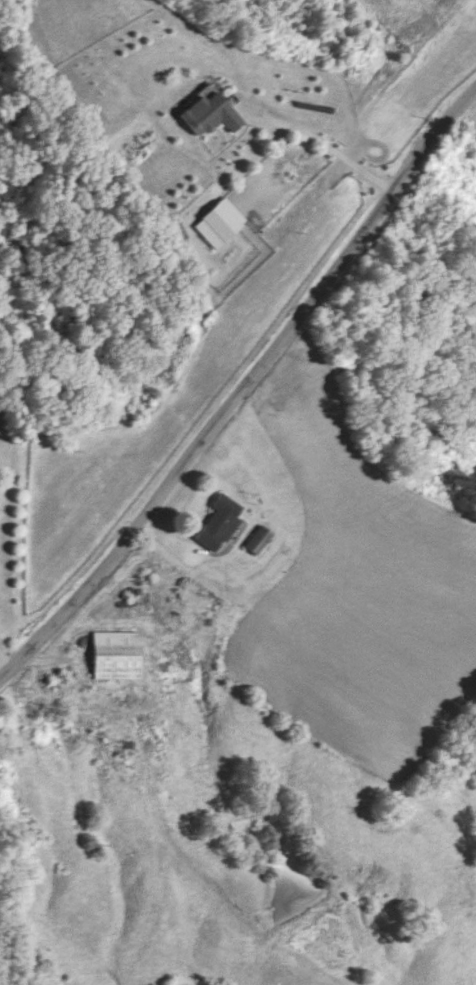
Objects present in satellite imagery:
building: (209, 113)
road: (321, 139)
building: (220, 222)
road: (243, 384)
building: (219, 521)
building: (259, 539)
building: (118, 655)
road: (6, 656)

